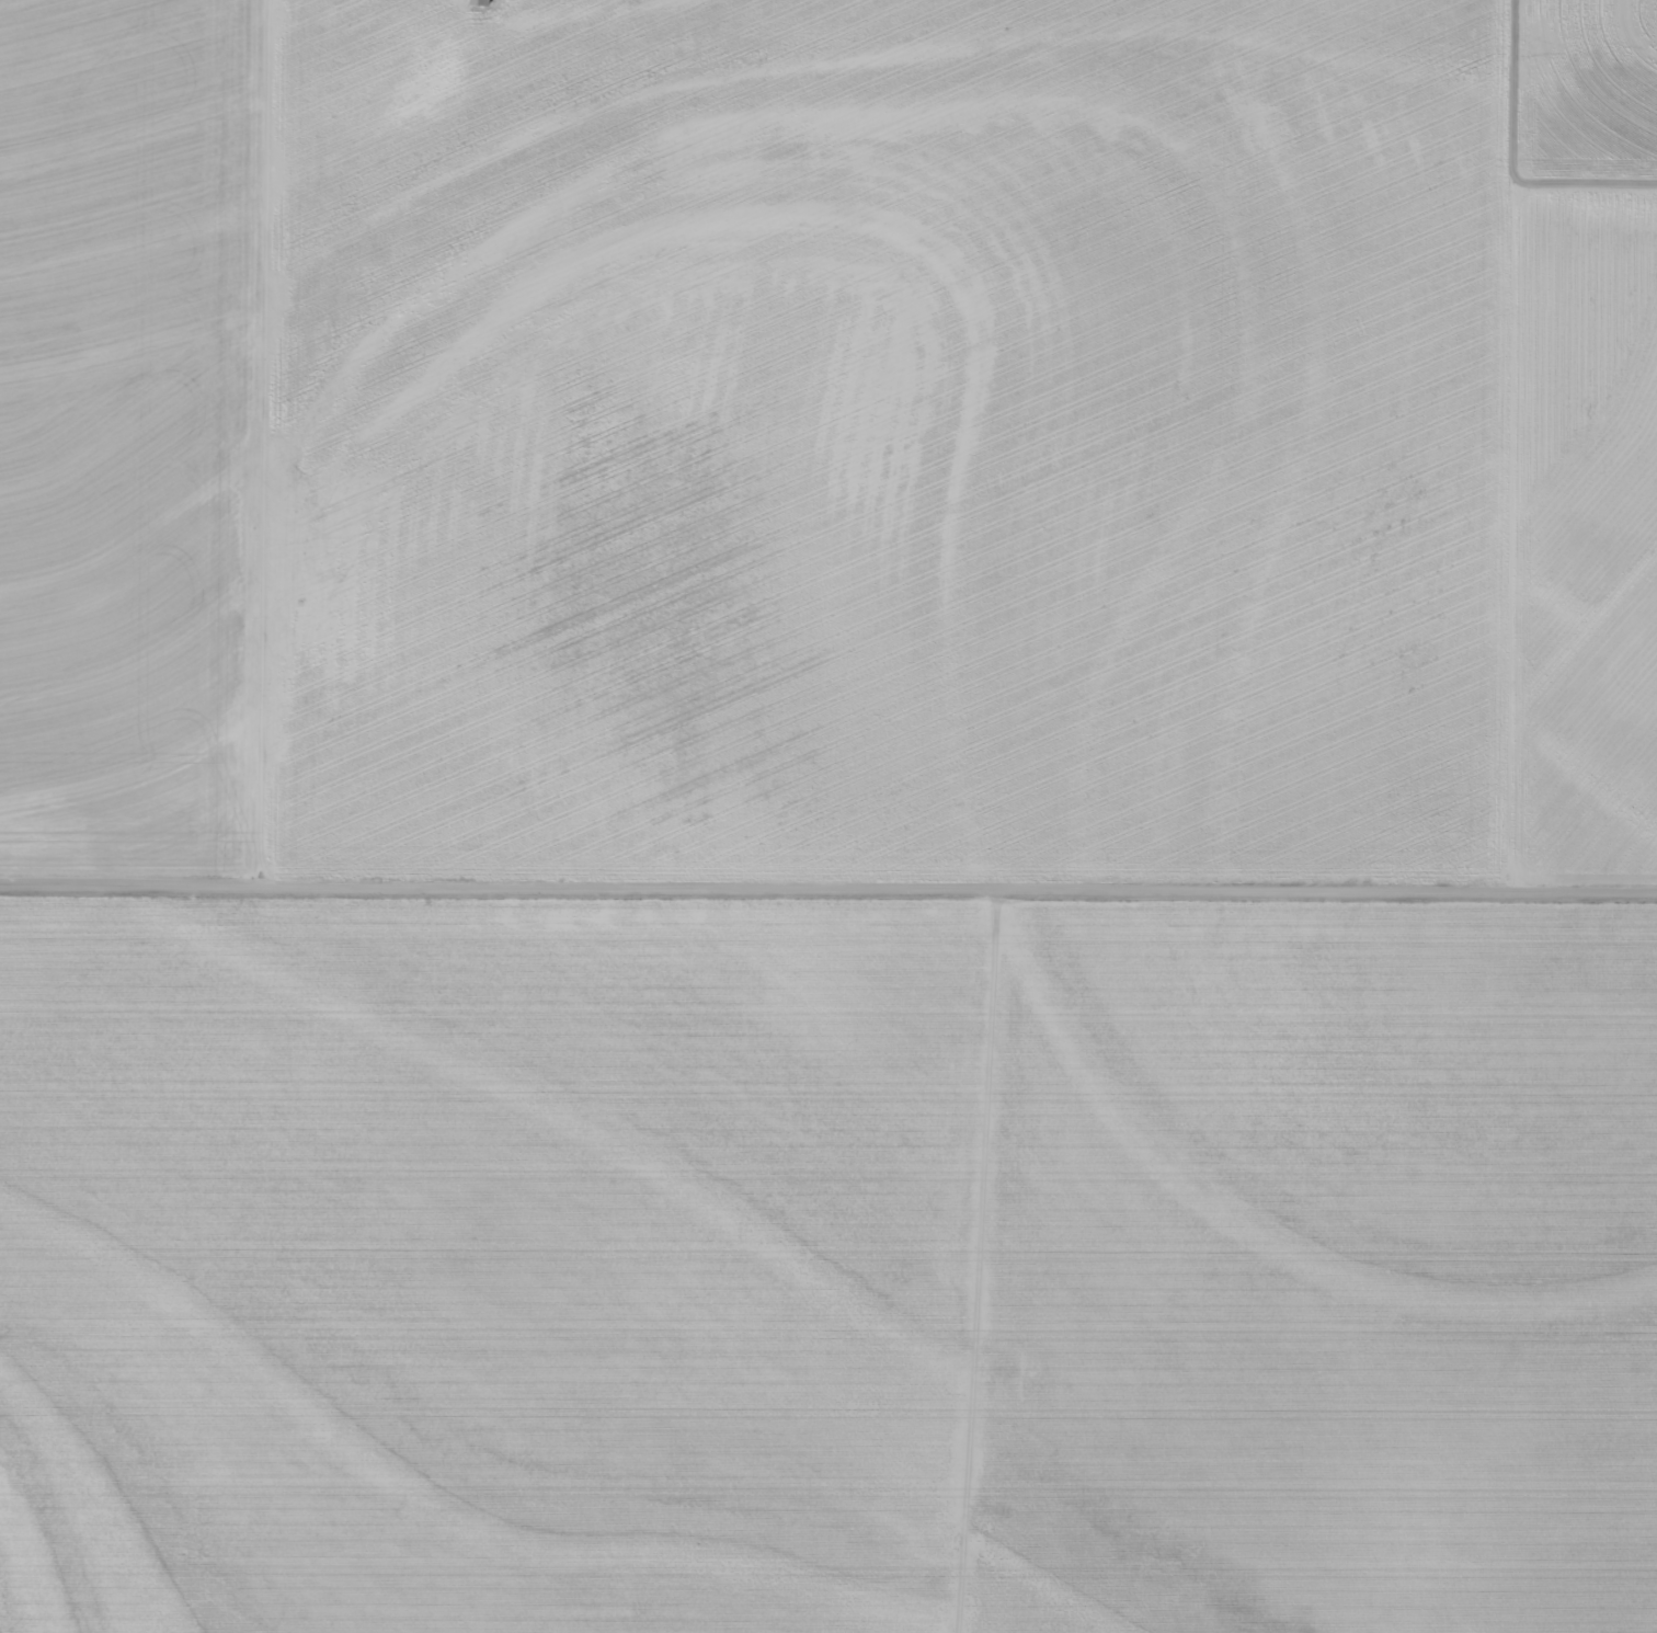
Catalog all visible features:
road: (311, 435)
road: (827, 887)

